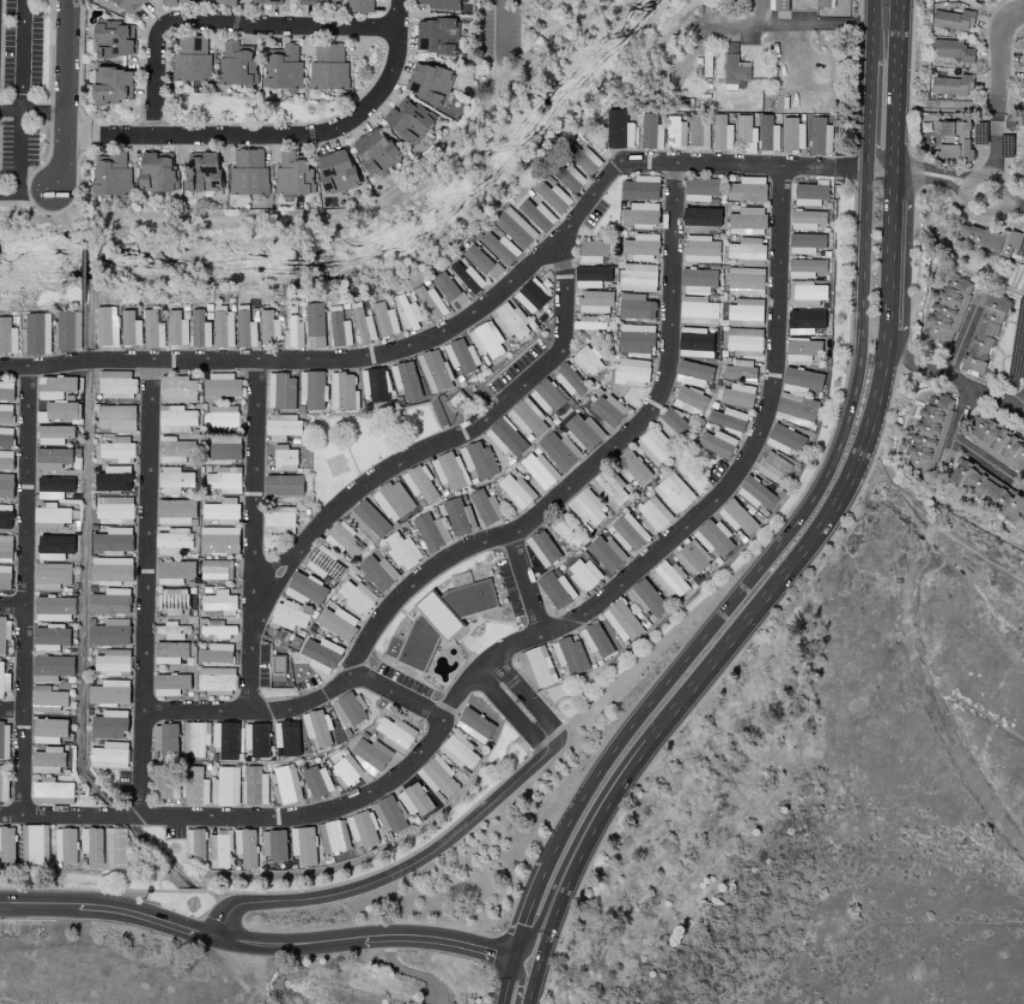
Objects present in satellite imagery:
building: (215, 1)
building: (264, 1)
building: (310, 1)
building: (165, 2)
building: (435, 3)
building: (822, 3)
park: (557, 4)
building: (780, 5)
building: (126, 6)
building: (356, 6)
road: (888, 10)
road: (1017, 14)
parking lot: (0, 16)
building: (951, 20)
road: (222, 21)
road: (501, 25)
road: (774, 25)
road: (888, 26)
building: (435, 35)
building: (112, 39)
parking lot: (23, 47)
road: (879, 47)
building: (949, 49)
road: (20, 54)
building: (1022, 57)
building: (191, 59)
road: (998, 61)
building: (237, 64)
building: (707, 64)
building: (282, 67)
building: (328, 67)
building: (733, 71)
building: (1023, 81)
building: (428, 83)
building: (110, 85)
building: (950, 85)
road: (67, 97)
parking lot: (1, 100)
road: (894, 100)
road: (869, 103)
road: (33, 110)
building: (408, 120)
building: (618, 130)
building: (698, 132)
building: (720, 132)
road: (290, 133)
building: (650, 133)
building: (675, 133)
building: (756, 133)
building: (791, 133)
road: (78, 136)
building: (819, 136)
building: (945, 139)
road: (995, 143)
parking lot: (18, 146)
road: (227, 148)
road: (273, 148)
road: (134, 150)
road: (183, 151)
road: (20, 153)
building: (373, 153)
road: (867, 156)
road: (880, 157)
building: (585, 159)
road: (851, 168)
road: (933, 169)
building: (155, 171)
building: (248, 171)
building: (333, 171)
building: (199, 172)
building: (1023, 172)
building: (293, 174)
building: (110, 175)
building: (574, 175)
road: (928, 180)
building: (639, 188)
building: (700, 189)
building: (747, 189)
building: (810, 193)
road: (26, 195)
building: (551, 196)
road: (1007, 197)
road: (16, 203)
road: (1015, 205)
road: (375, 206)
road: (38, 207)
building: (536, 214)
parking lot: (595, 215)
building: (641, 215)
building: (701, 218)
building: (807, 219)
building: (748, 221)
road: (61, 223)
building: (513, 227)
building: (988, 238)
building: (805, 243)
building: (641, 247)
building: (499, 248)
building: (702, 249)
building: (748, 250)
road: (890, 250)
building: (593, 251)
road: (862, 253)
building: (481, 258)
building: (805, 268)
road: (85, 272)
building: (591, 276)
building: (637, 277)
building: (467, 278)
building: (697, 280)
building: (746, 281)
building: (447, 288)
building: (806, 292)
building: (532, 296)
building: (430, 302)
building: (596, 302)
building: (634, 306)
building: (698, 310)
building: (947, 310)
building: (745, 311)
building: (407, 312)
building: (384, 319)
building: (512, 321)
building: (589, 324)
building: (314, 325)
building: (363, 325)
building: (104, 326)
building: (221, 326)
road: (447, 326)
building: (129, 328)
building: (151, 328)
building: (187, 328)
building: (244, 328)
building: (268, 328)
building: (338, 328)
building: (67, 330)
road: (84, 331)
building: (293, 331)
building: (36, 333)
building: (982, 333)
building: (7, 336)
road: (887, 336)
building: (636, 338)
building: (488, 339)
building: (745, 341)
road: (961, 343)
building: (802, 349)
building: (463, 356)
building: (587, 361)
road: (913, 366)
parking lot: (516, 369)
building: (739, 370)
building: (434, 371)
building: (632, 372)
building: (801, 378)
building: (406, 379)
building: (569, 379)
building: (117, 384)
building: (375, 384)
building: (222, 385)
building: (54, 387)
building: (178, 389)
building: (312, 390)
building: (6, 391)
building: (282, 391)
building: (344, 391)
building: (737, 395)
road: (987, 395)
building: (690, 400)
road: (1021, 406)
building: (608, 410)
building: (58, 411)
building: (5, 413)
building: (223, 416)
building: (116, 418)
building: (178, 418)
building: (528, 418)
building: (728, 420)
building: (672, 424)
building: (282, 427)
building: (583, 431)
building: (53, 434)
building: (929, 434)
building: (5, 436)
building: (506, 437)
building: (785, 439)
building: (716, 443)
building: (996, 443)
road: (961, 444)
building: (656, 446)
road: (432, 447)
building: (118, 449)
building: (225, 449)
building: (175, 450)
building: (559, 450)
building: (51, 458)
building: (285, 458)
building: (5, 460)
building: (479, 460)
building: (774, 467)
building: (633, 468)
building: (450, 472)
building: (539, 472)
parking lot: (716, 472)
building: (112, 479)
building: (175, 480)
building: (226, 480)
building: (421, 483)
road: (25, 485)
building: (5, 486)
building: (282, 486)
building: (53, 487)
building: (609, 488)
building: (986, 488)
building: (515, 492)
building: (673, 492)
building: (756, 493)
building: (394, 500)
building: (114, 507)
building: (485, 508)
building: (222, 509)
building: (587, 509)
building: (176, 512)
building: (53, 515)
building: (653, 515)
building: (4, 516)
building: (458, 516)
building: (279, 517)
building: (737, 517)
building: (369, 520)
road: (928, 529)
building: (429, 531)
road: (509, 531)
building: (628, 532)
road: (253, 534)
building: (714, 538)
building: (221, 539)
building: (344, 539)
building: (111, 540)
building: (175, 540)
building: (5, 546)
building: (54, 547)
building: (541, 548)
building: (402, 551)
building: (605, 553)
building: (693, 557)
building: (325, 563)
building: (110, 570)
building: (217, 570)
building: (175, 572)
building: (377, 572)
building: (583, 574)
building: (51, 576)
building: (4, 578)
building: (670, 579)
road: (522, 582)
road: (146, 587)
building: (305, 588)
building: (554, 589)
building: (356, 597)
building: (645, 599)
building: (174, 600)
building: (219, 601)
building: (109, 602)
road: (11, 606)
building: (53, 609)
building: (289, 615)
building: (441, 620)
building: (621, 621)
building: (337, 623)
building: (216, 628)
building: (173, 630)
building: (108, 632)
building: (4, 633)
building: (50, 637)
building: (595, 639)
road: (520, 641)
road: (693, 648)
road: (714, 649)
building: (171, 652)
building: (215, 654)
building: (320, 655)
building: (569, 655)
building: (113, 662)
building: (537, 667)
road: (502, 669)
building: (217, 680)
building: (3, 681)
building: (171, 684)
parking lot: (308, 684)
building: (108, 693)
road: (396, 694)
building: (48, 698)
road: (940, 704)
building: (348, 708)
road: (22, 709)
road: (10, 711)
road: (508, 713)
road: (542, 715)
building: (108, 725)
building: (474, 726)
building: (317, 728)
building: (49, 730)
building: (394, 734)
building: (196, 739)
building: (287, 739)
building: (4, 740)
building: (164, 740)
building: (226, 740)
building: (256, 741)
building: (459, 752)
building: (370, 753)
building: (108, 755)
building: (49, 760)
building: (345, 770)
building: (438, 778)
building: (164, 781)
building: (315, 782)
parking lot: (124, 783)
building: (285, 785)
building: (254, 786)
building: (225, 787)
building: (3, 789)
building: (51, 792)
building: (416, 799)
building: (389, 814)
building: (363, 829)
parking lot: (174, 833)
building: (334, 836)
building: (7, 844)
building: (34, 845)
building: (93, 845)
building: (273, 845)
building: (304, 845)
building: (65, 846)
building: (196, 847)
building: (246, 847)
building: (116, 848)
building: (220, 850)
road: (389, 873)
road: (38, 906)
road: (541, 918)
road: (148, 919)
road: (438, 938)
road: (291, 946)
traffic signals: (512, 955)
traffic signals: (539, 961)
road: (410, 972)
road: (257, 975)
road: (522, 978)
road: (506, 979)
road: (533, 982)
road: (4, 1002)

